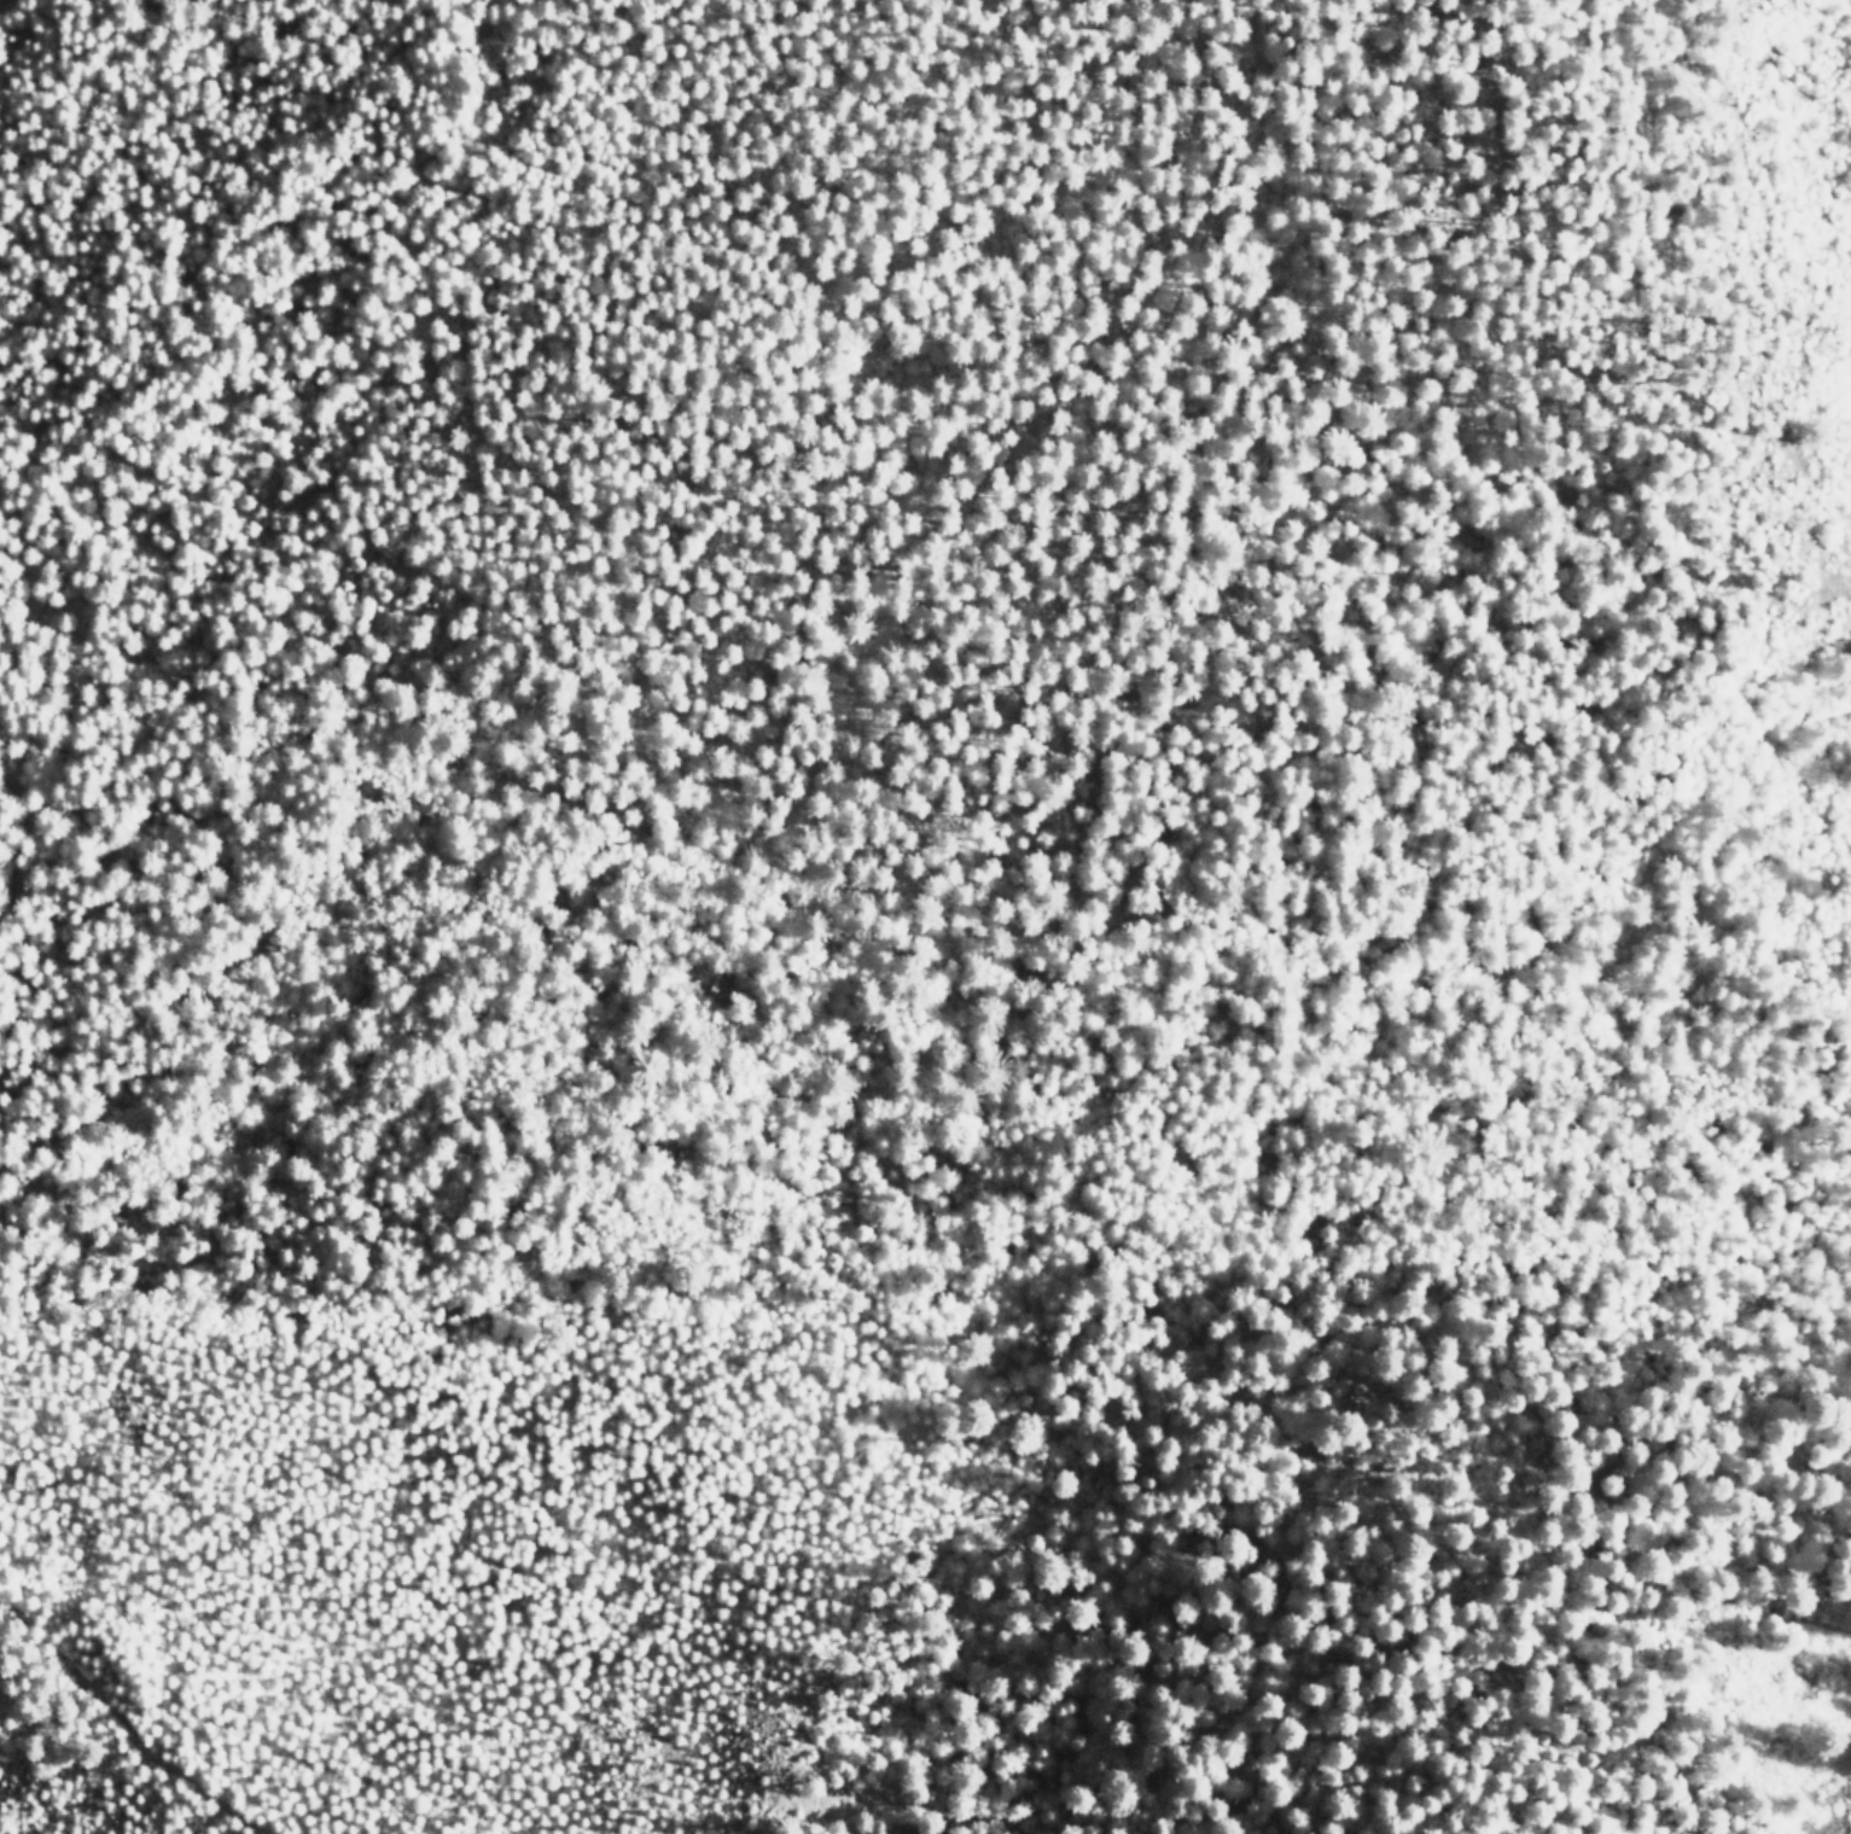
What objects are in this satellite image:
road: (30, 1820)

